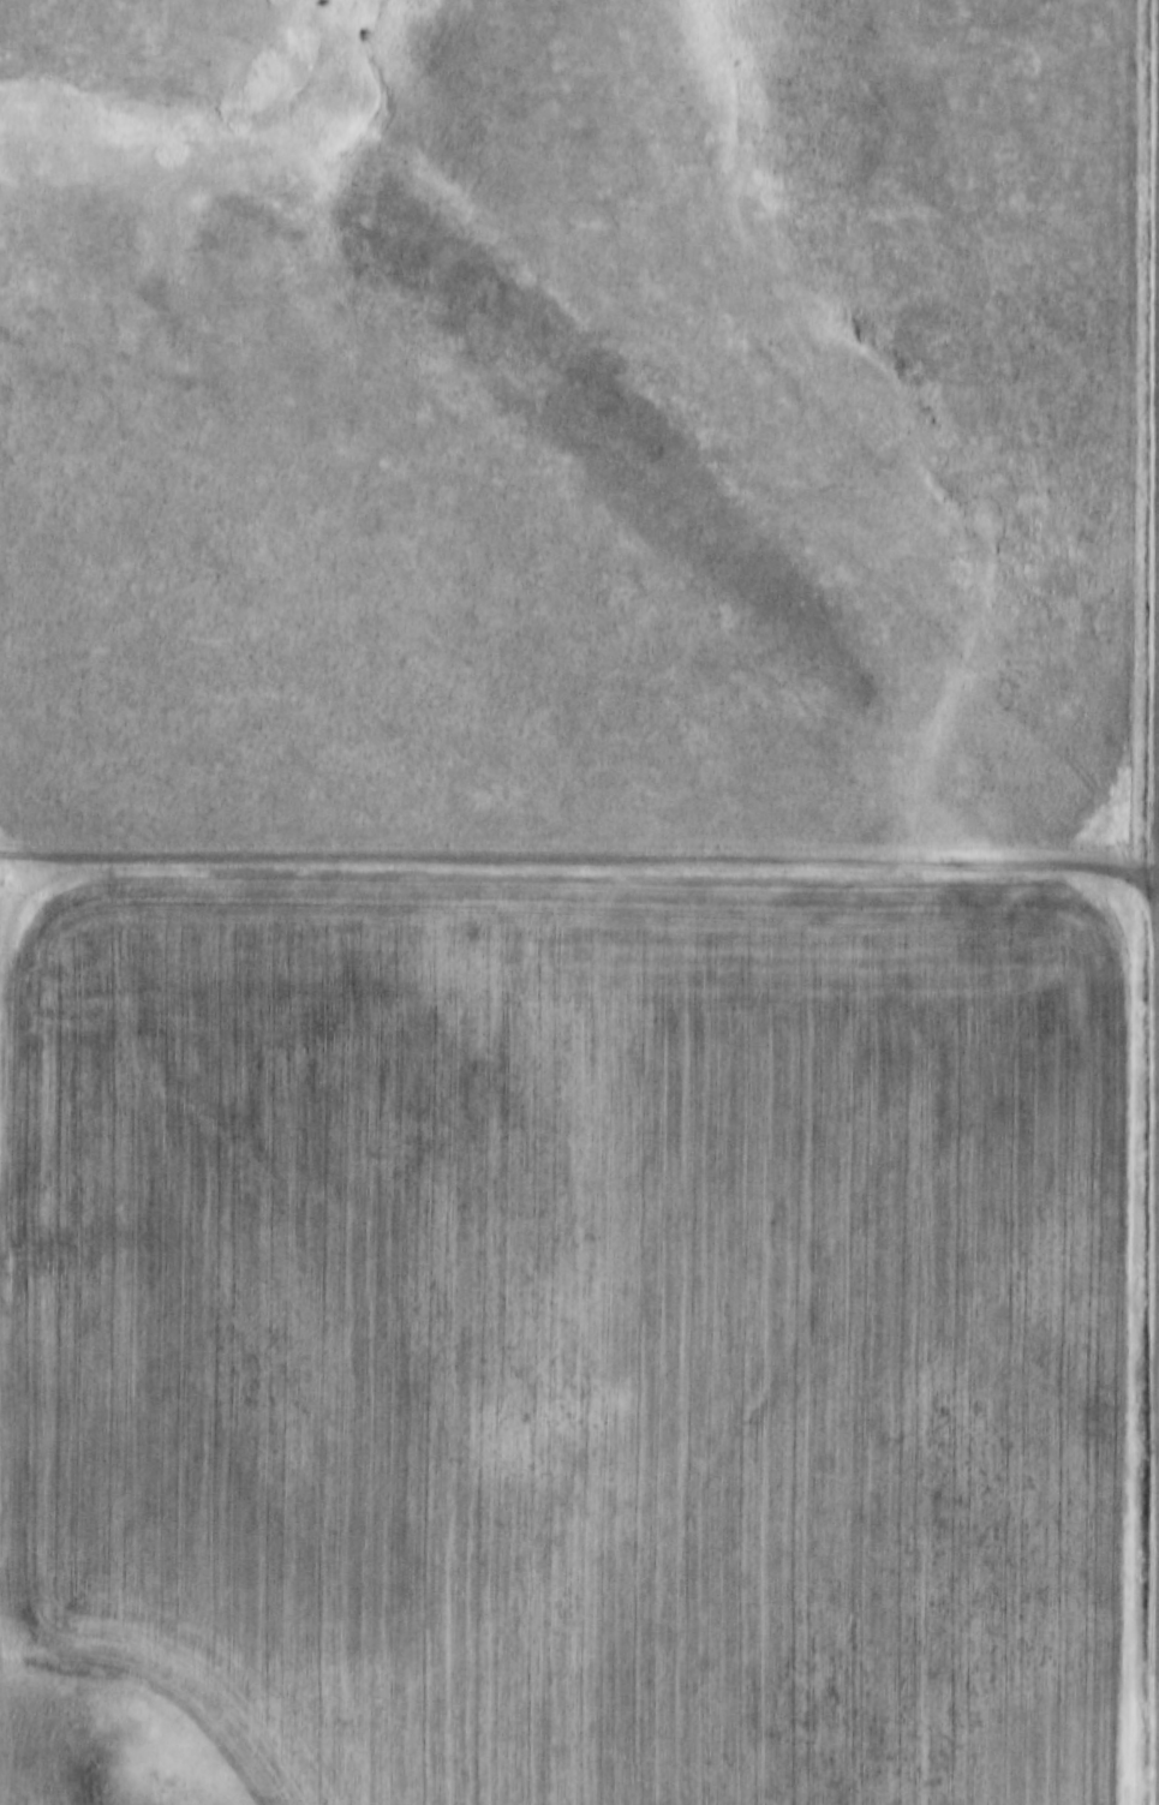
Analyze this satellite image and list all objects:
road: (583, 859)
road: (1157, 998)

